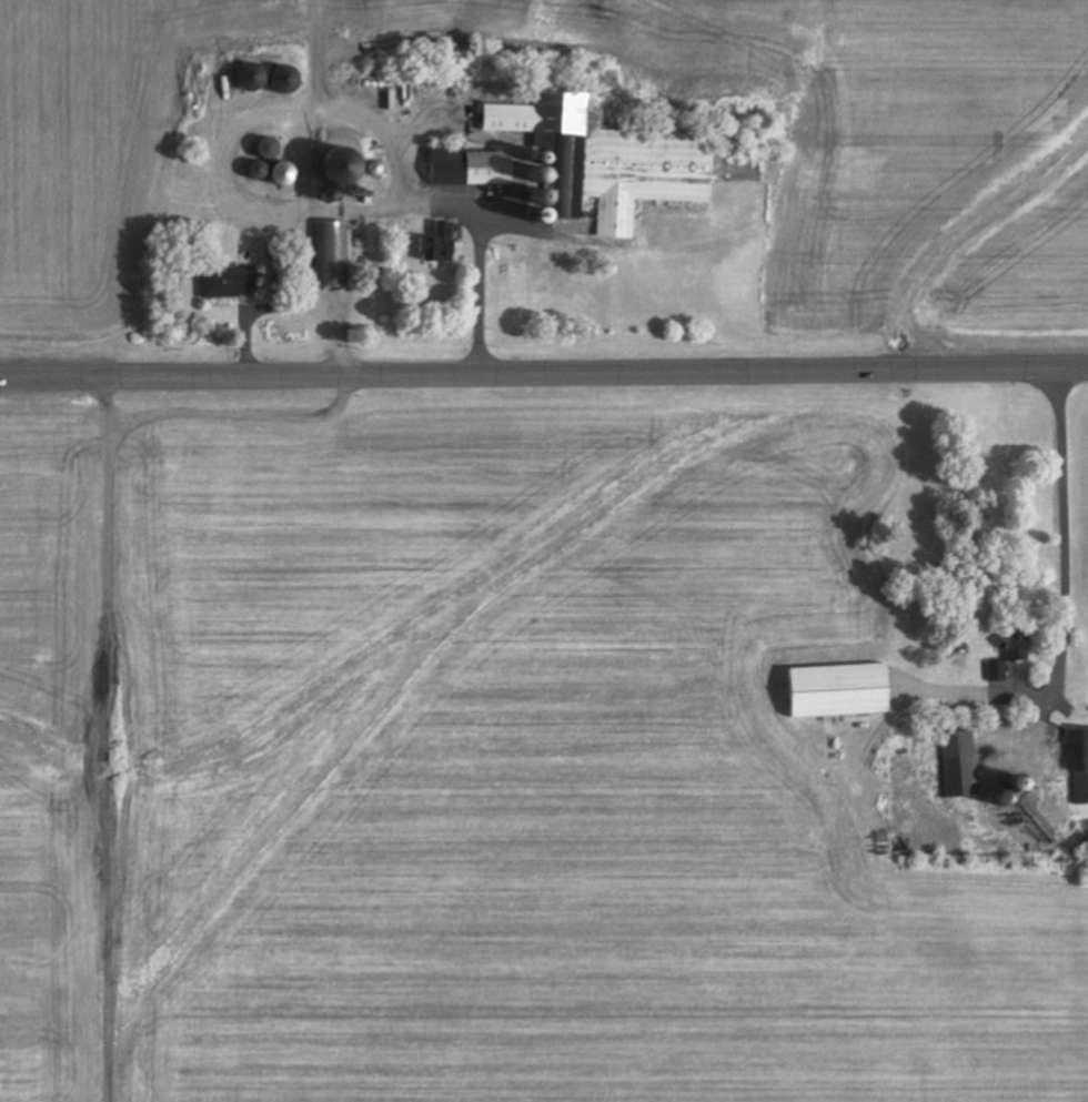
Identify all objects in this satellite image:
building: (252, 79)
building: (284, 82)
building: (345, 107)
building: (266, 149)
building: (621, 161)
building: (469, 168)
building: (343, 174)
building: (437, 245)
building: (331, 255)
building: (228, 283)
road: (544, 372)
road: (1066, 616)
building: (1018, 643)
building: (996, 670)
building: (842, 689)
building: (960, 765)
building: (1081, 766)

